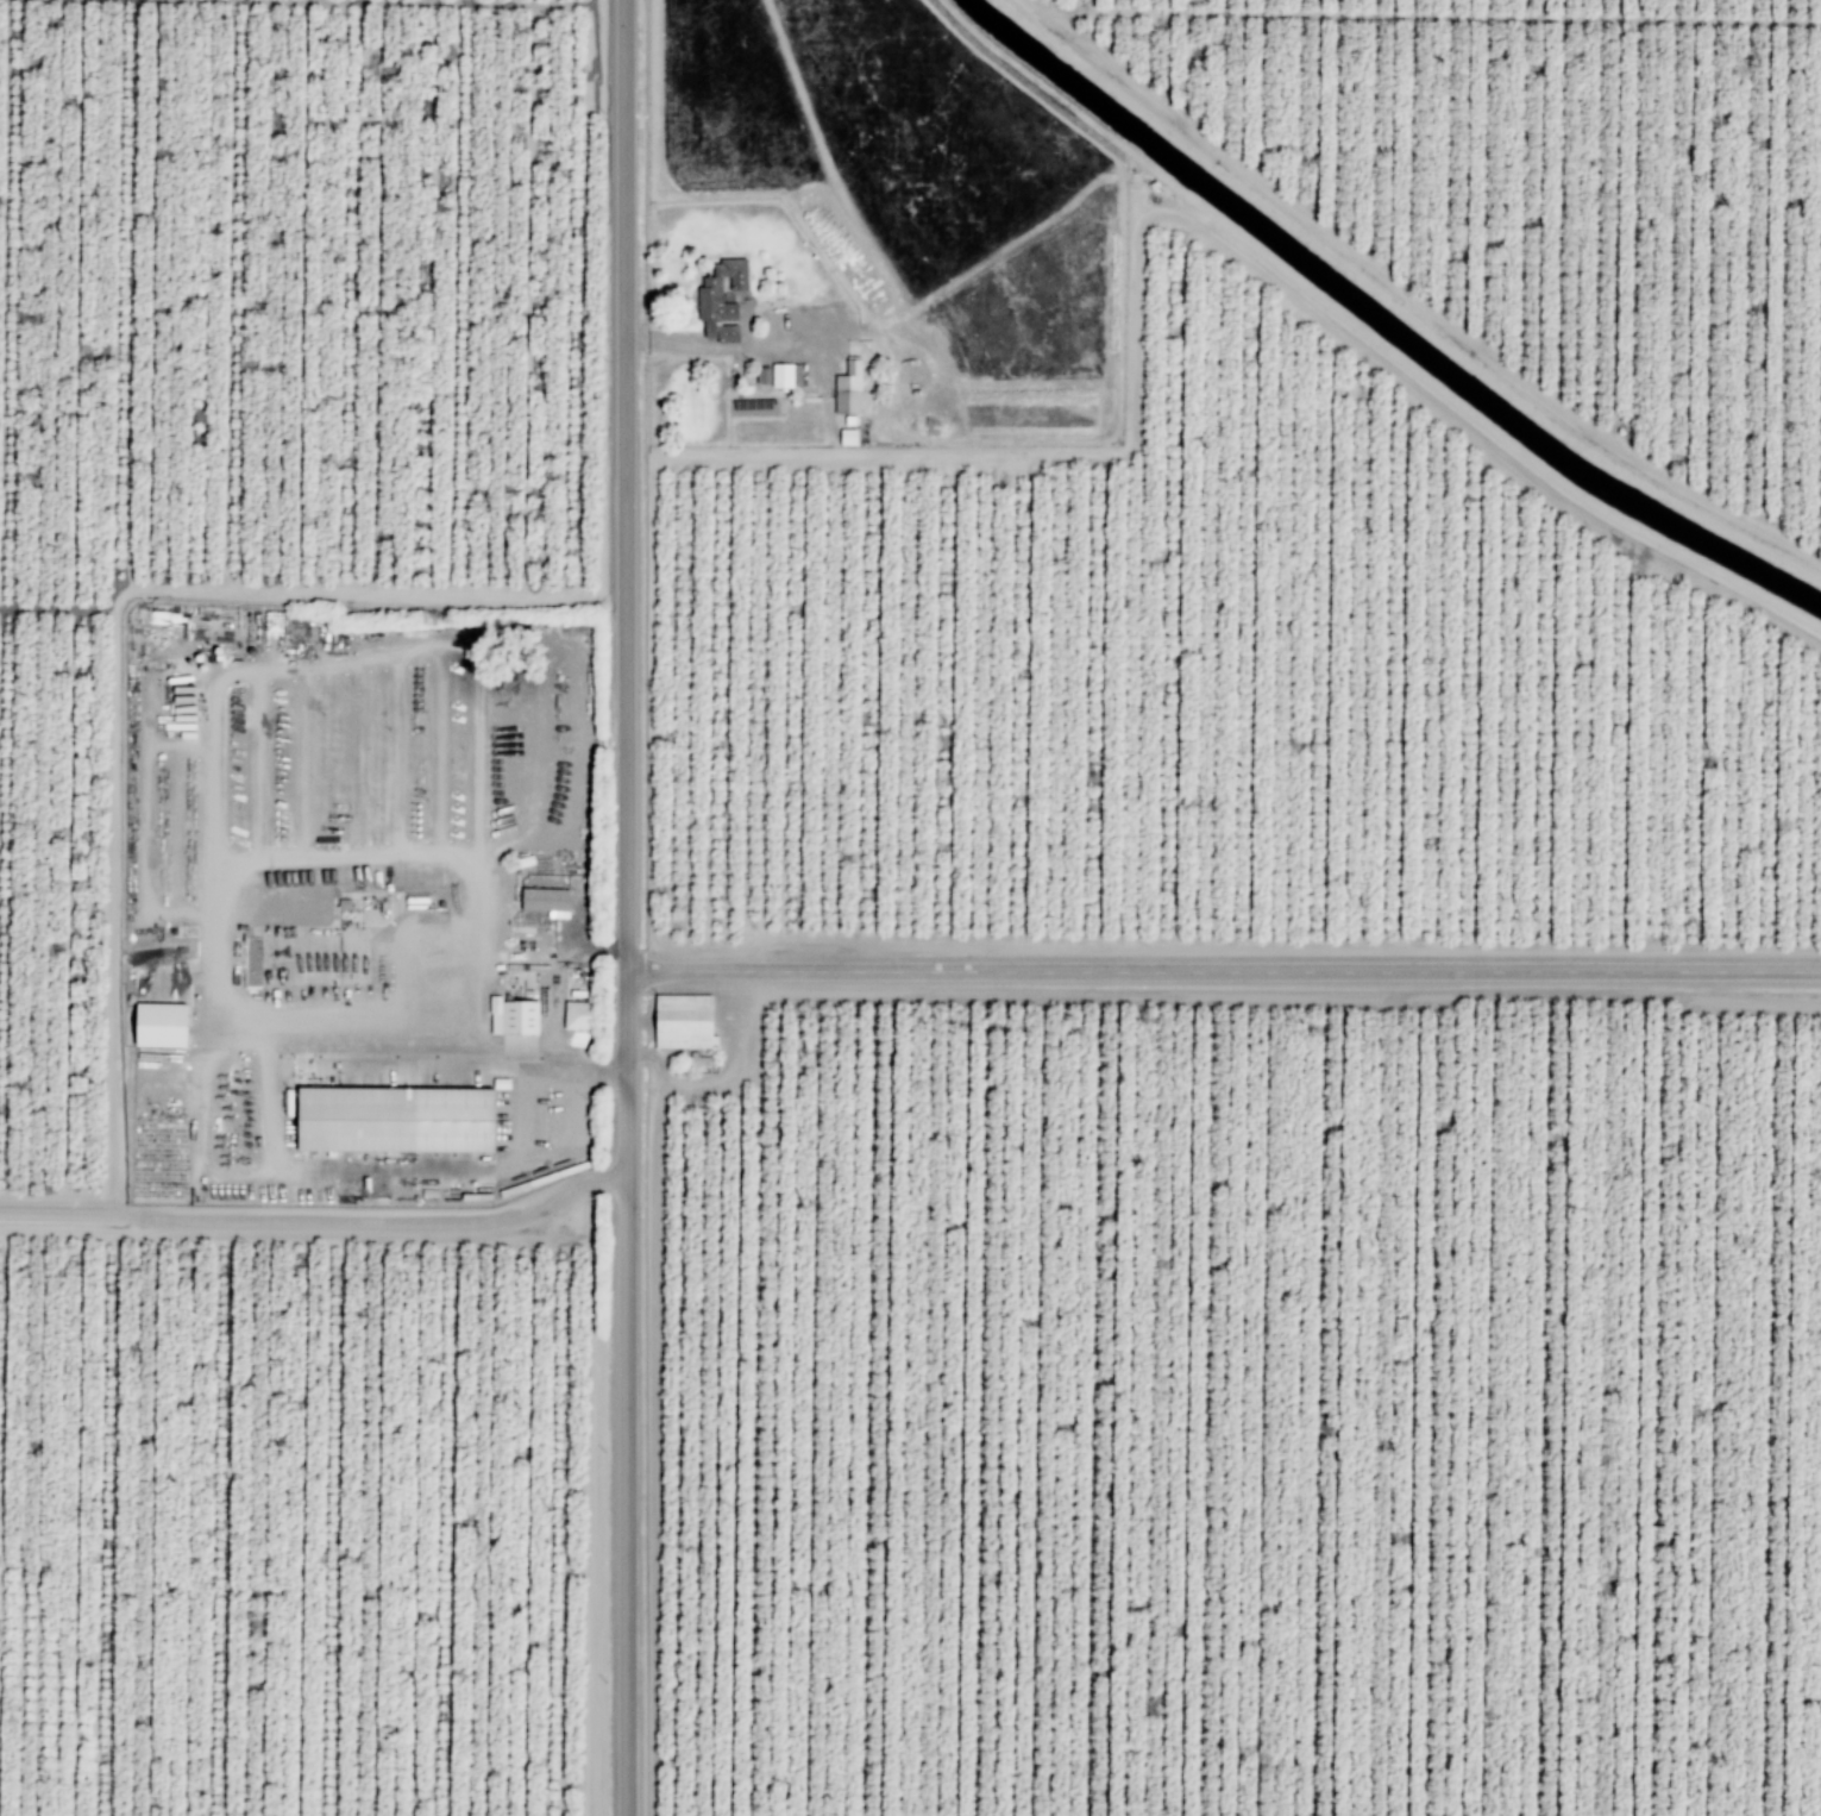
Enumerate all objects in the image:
road: (533, 0)
road: (132, 293)
road: (241, 295)
road: (359, 296)
road: (470, 298)
road: (583, 299)
building: (722, 300)
building: (765, 375)
building: (787, 375)
building: (849, 388)
building: (848, 437)
road: (623, 486)
road: (304, 591)
road: (13, 605)
building: (548, 901)
road: (1223, 970)
building: (579, 1014)
building: (514, 1015)
building: (684, 1020)
building: (162, 1026)
road: (212, 1107)
building: (396, 1117)
road: (319, 1219)
road: (2, 1364)
road: (624, 1392)
road: (595, 1501)
road: (112, 1515)
road: (224, 1516)
road: (337, 1517)

